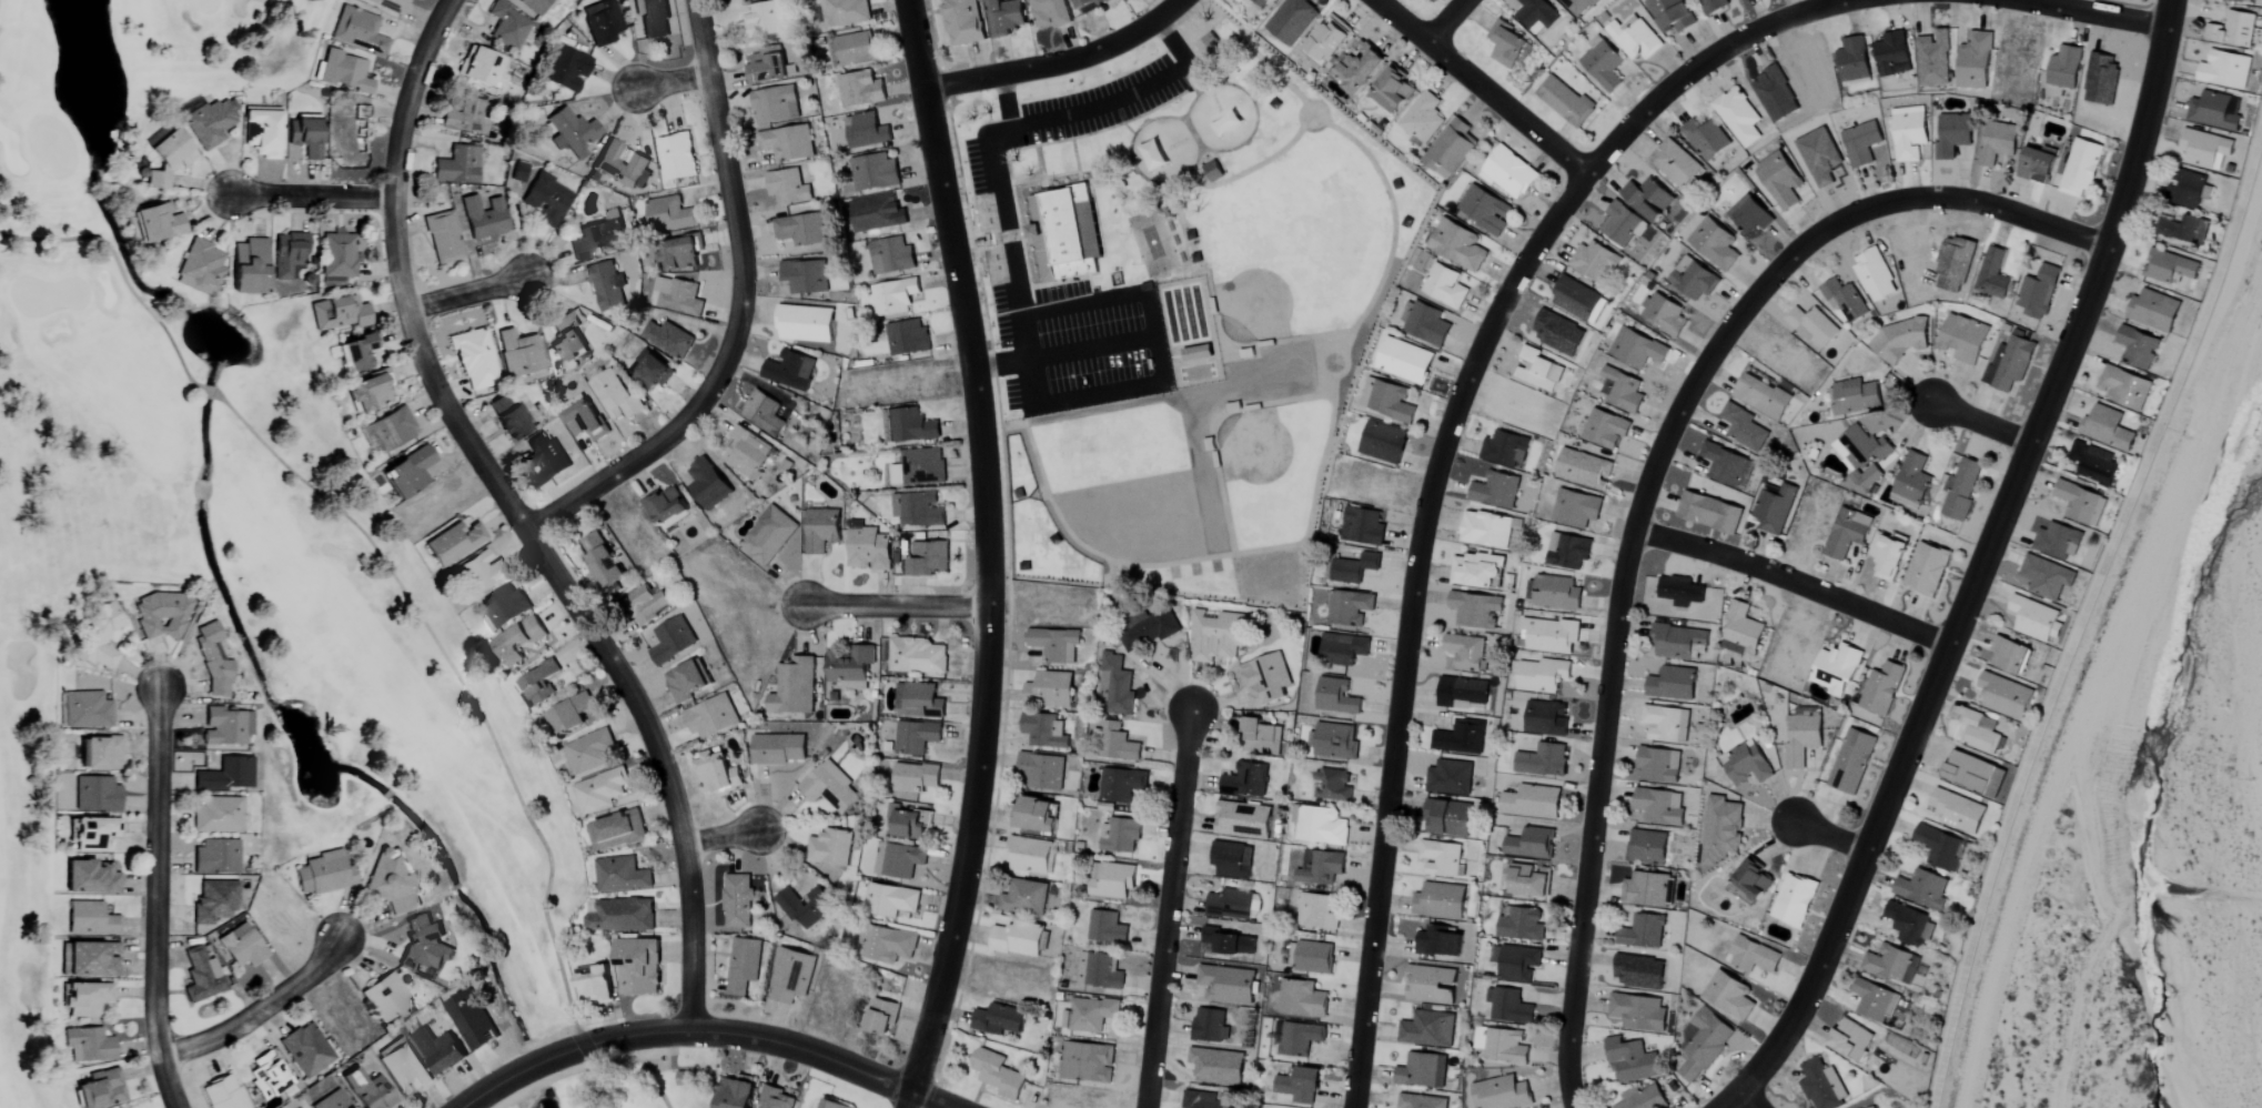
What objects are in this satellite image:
building: (2240, 0)
building: (1263, 2)
building: (1089, 4)
building: (1577, 6)
building: (1714, 6)
building: (534, 7)
road: (2096, 11)
building: (845, 12)
building: (1050, 12)
building: (1536, 16)
building: (1672, 16)
building: (1006, 17)
building: (652, 18)
building: (761, 19)
building: (1291, 20)
road: (1398, 21)
road: (1446, 21)
building: (602, 22)
building: (962, 22)
building: (507, 24)
building: (357, 31)
building: (1634, 38)
building: (1326, 39)
building: (1209, 40)
building: (1507, 44)
building: (854, 49)
building: (1892, 54)
building: (1935, 58)
building: (1852, 60)
road: (1059, 62)
building: (1975, 62)
building: (1602, 63)
building: (478, 66)
building: (765, 66)
building: (1360, 67)
building: (2066, 67)
building: (566, 69)
building: (2224, 69)
building: (343, 72)
building: (2102, 79)
road: (669, 84)
building: (860, 89)
building: (1393, 91)
building: (1565, 101)
building: (775, 104)
road: (1506, 107)
building: (2214, 111)
building: (463, 114)
building: (1738, 117)
building: (1422, 118)
building: (210, 122)
building: (1228, 127)
building: (264, 131)
building: (866, 131)
building: (570, 132)
building: (1909, 132)
building: (352, 133)
building: (1952, 135)
building: (305, 137)
building: (1705, 139)
park: (1309, 141)
road: (989, 142)
building: (787, 143)
building: (1861, 143)
building: (1998, 143)
building: (2204, 148)
building: (1451, 149)
building: (1157, 154)
building: (675, 157)
building: (1820, 157)
building: (169, 159)
building: (1676, 164)
building: (457, 165)
building: (622, 167)
building: (2082, 168)
building: (1212, 170)
building: (518, 172)
building: (874, 172)
building: (1509, 172)
building: (1780, 180)
building: (787, 187)
building: (2190, 190)
building: (1648, 198)
road: (310, 199)
building: (546, 199)
building: (1483, 209)
building: (667, 215)
building: (1751, 215)
building: (484, 218)
building: (158, 223)
building: (1623, 224)
building: (800, 229)
building: (2183, 230)
building: (1066, 232)
building: (443, 238)
building: (598, 238)
road: (990, 239)
park: (1151, 242)
building: (1715, 243)
building: (1457, 244)
building: (678, 251)
building: (289, 255)
building: (891, 255)
building: (339, 256)
building: (1593, 260)
building: (201, 264)
building: (249, 266)
building: (2170, 268)
building: (1875, 274)
building: (1992, 274)
building: (805, 275)
building: (1694, 279)
building: (606, 286)
building: (1444, 286)
building: (2039, 293)
road: (465, 296)
building: (893, 296)
building: (678, 299)
building: (1577, 300)
building: (1845, 300)
park: (1174, 305)
building: (2154, 311)
road: (739, 312)
building: (339, 313)
building: (1666, 314)
road: (1153, 315)
building: (805, 323)
building: (1426, 324)
building: (1811, 325)
building: (666, 338)
building: (908, 338)
building: (566, 339)
building: (1965, 339)
building: (2138, 347)
building: (1637, 349)
building: (1196, 352)
building: (359, 353)
building: (518, 353)
building: (474, 359)
building: (1403, 361)
building: (2009, 363)
building: (648, 370)
building: (1538, 370)
building: (789, 371)
building: (2124, 387)
building: (1623, 390)
building: (367, 393)
road: (1101, 393)
building: (614, 396)
building: (1763, 396)
building: (1855, 396)
building: (1390, 401)
building: (763, 413)
building: (507, 417)
building: (583, 419)
road: (1985, 425)
building: (912, 426)
building: (1743, 427)
building: (1606, 429)
building: (2107, 429)
building: (392, 430)
building: (1383, 442)
building: (1504, 450)
building: (746, 453)
building: (1861, 454)
building: (546, 456)
building: (2094, 463)
road: (1435, 466)
building: (1727, 466)
building: (919, 467)
building: (1585, 469)
building: (408, 473)
building: (1911, 482)
building: (1698, 484)
building: (1961, 488)
building: (1495, 491)
road: (1645, 493)
building: (2081, 503)
building: (666, 506)
building: (1576, 508)
building: (1774, 508)
building: (918, 510)
building: (1709, 512)
road: (517, 517)
building: (1362, 526)
building: (820, 530)
building: (1486, 530)
building: (1848, 533)
park: (1061, 534)
building: (768, 535)
park: (240, 538)
building: (2058, 542)
building: (452, 543)
building: (868, 550)
building: (1568, 551)
road: (988, 555)
building: (1888, 556)
park: (1259, 557)
building: (928, 558)
road: (1987, 558)
building: (602, 561)
building: (1352, 566)
building: (1475, 570)
building: (1928, 570)
building: (482, 571)
building: (2046, 577)
road: (1793, 582)
building: (1680, 591)
building: (1557, 593)
building: (505, 605)
road: (899, 605)
building: (647, 607)
building: (1350, 607)
building: (1474, 610)
building: (160, 613)
building: (2036, 620)
road: (2089, 620)
building: (1157, 626)
building: (1743, 631)
building: (1218, 635)
building: (1551, 635)
building: (100, 638)
building: (671, 639)
building: (517, 641)
building: (1678, 642)
building: (1054, 644)
building: (1343, 647)
building: (1464, 652)
building: (2009, 655)
building: (917, 656)
building: (212, 659)
building: (1836, 668)
building: (849, 669)
building: (1543, 675)
building: (1265, 679)
building: (687, 681)
building: (1672, 684)
building: (538, 685)
building: (1114, 687)
building: (1049, 688)
building: (792, 689)
building: (1881, 689)
building: (1462, 694)
building: (2006, 696)
building: (1336, 697)
building: (922, 701)
building: (87, 711)
building: (570, 714)
building: (710, 717)
building: (1547, 718)
building: (1666, 724)
building: (226, 726)
building: (1044, 732)
building: (1980, 733)
building: (916, 736)
building: (1460, 737)
building: (1262, 738)
building: (1802, 738)
building: (1333, 741)
building: (1117, 744)
building: (777, 749)
building: (589, 751)
building: (101, 754)
building: (1543, 761)
building: (1851, 762)
building: (1658, 765)
building: (1748, 765)
building: (1042, 772)
building: (716, 774)
building: (225, 775)
building: (913, 778)
building: (1450, 778)
building: (1245, 780)
building: (1120, 785)
building: (1332, 785)
building: (829, 787)
building: (599, 790)
building: (97, 795)
building: (1533, 803)
building: (1659, 807)
building: (1958, 812)
building: (218, 815)
building: (1036, 816)
building: (1447, 818)
building: (1243, 820)
building: (910, 825)
building: (1319, 825)
building: (1721, 829)
building: (616, 832)
building: (93, 834)
building: (1119, 835)
road: (726, 836)
road: (1831, 838)
building: (1531, 845)
building: (1647, 846)
building: (1937, 846)
building: (830, 847)
building: (1029, 856)
building: (215, 857)
building: (1442, 859)
building: (898, 860)
building: (1232, 860)
building: (1319, 867)
building: (323, 875)
building: (620, 875)
building: (90, 878)
building: (1529, 880)
building: (1754, 880)
building: (1112, 882)
building: (391, 884)
building: (1923, 889)
building: (1645, 890)
building: (1024, 898)
road: (152, 899)
building: (891, 900)
building: (1794, 900)
building: (213, 901)
building: (737, 901)
building: (1440, 901)
building: (1233, 906)
building: (805, 907)
road: (1169, 908)
building: (620, 916)
building: (90, 919)
building: (1521, 925)
building: (1105, 928)
building: (1643, 931)
building: (1017, 939)
building: (1438, 943)
building: (1226, 944)
building: (424, 945)
building: (242, 946)
building: (890, 946)
building: (1754, 956)
building: (1309, 957)
building: (88, 960)
building: (642, 963)
building: (1516, 963)
building: (1892, 964)
building: (743, 966)
building: (1099, 971)
building: (202, 976)
building: (790, 976)
building: (628, 981)
building: (1226, 984)
building: (1430, 985)
building: (594, 986)
building: (1729, 996)
building: (385, 998)
building: (84, 999)
building: (1302, 999)
building: (1876, 1001)
building: (1509, 1006)
road: (255, 1010)
building: (1638, 1013)
building: (1091, 1015)
building: (880, 1017)
building: (471, 1020)
building: (998, 1020)
building: (1210, 1026)
building: (1427, 1029)
road: (705, 1034)
building: (1299, 1038)
building: (1851, 1040)
building: (1703, 1044)
building: (90, 1045)
building: (1506, 1046)
building: (306, 1050)
building: (438, 1051)
building: (1633, 1061)
building: (1087, 1062)
building: (1218, 1067)
building: (403, 1068)
building: (1421, 1071)
building: (997, 1075)
building: (266, 1076)
building: (683, 1079)
building: (1822, 1085)
building: (1300, 1086)
building: (101, 1090)
building: (367, 1091)
building: (222, 1094)
building: (735, 1094)
building: (1502, 1094)
building: (775, 1099)
building: (1642, 1099)
building: (1203, 1100)
building: (332, 1101)
building: (1421, 1101)
road: (1735, 1101)
road: (1748, 1101)
building: (831, 1105)
building: (1872, 1107)

